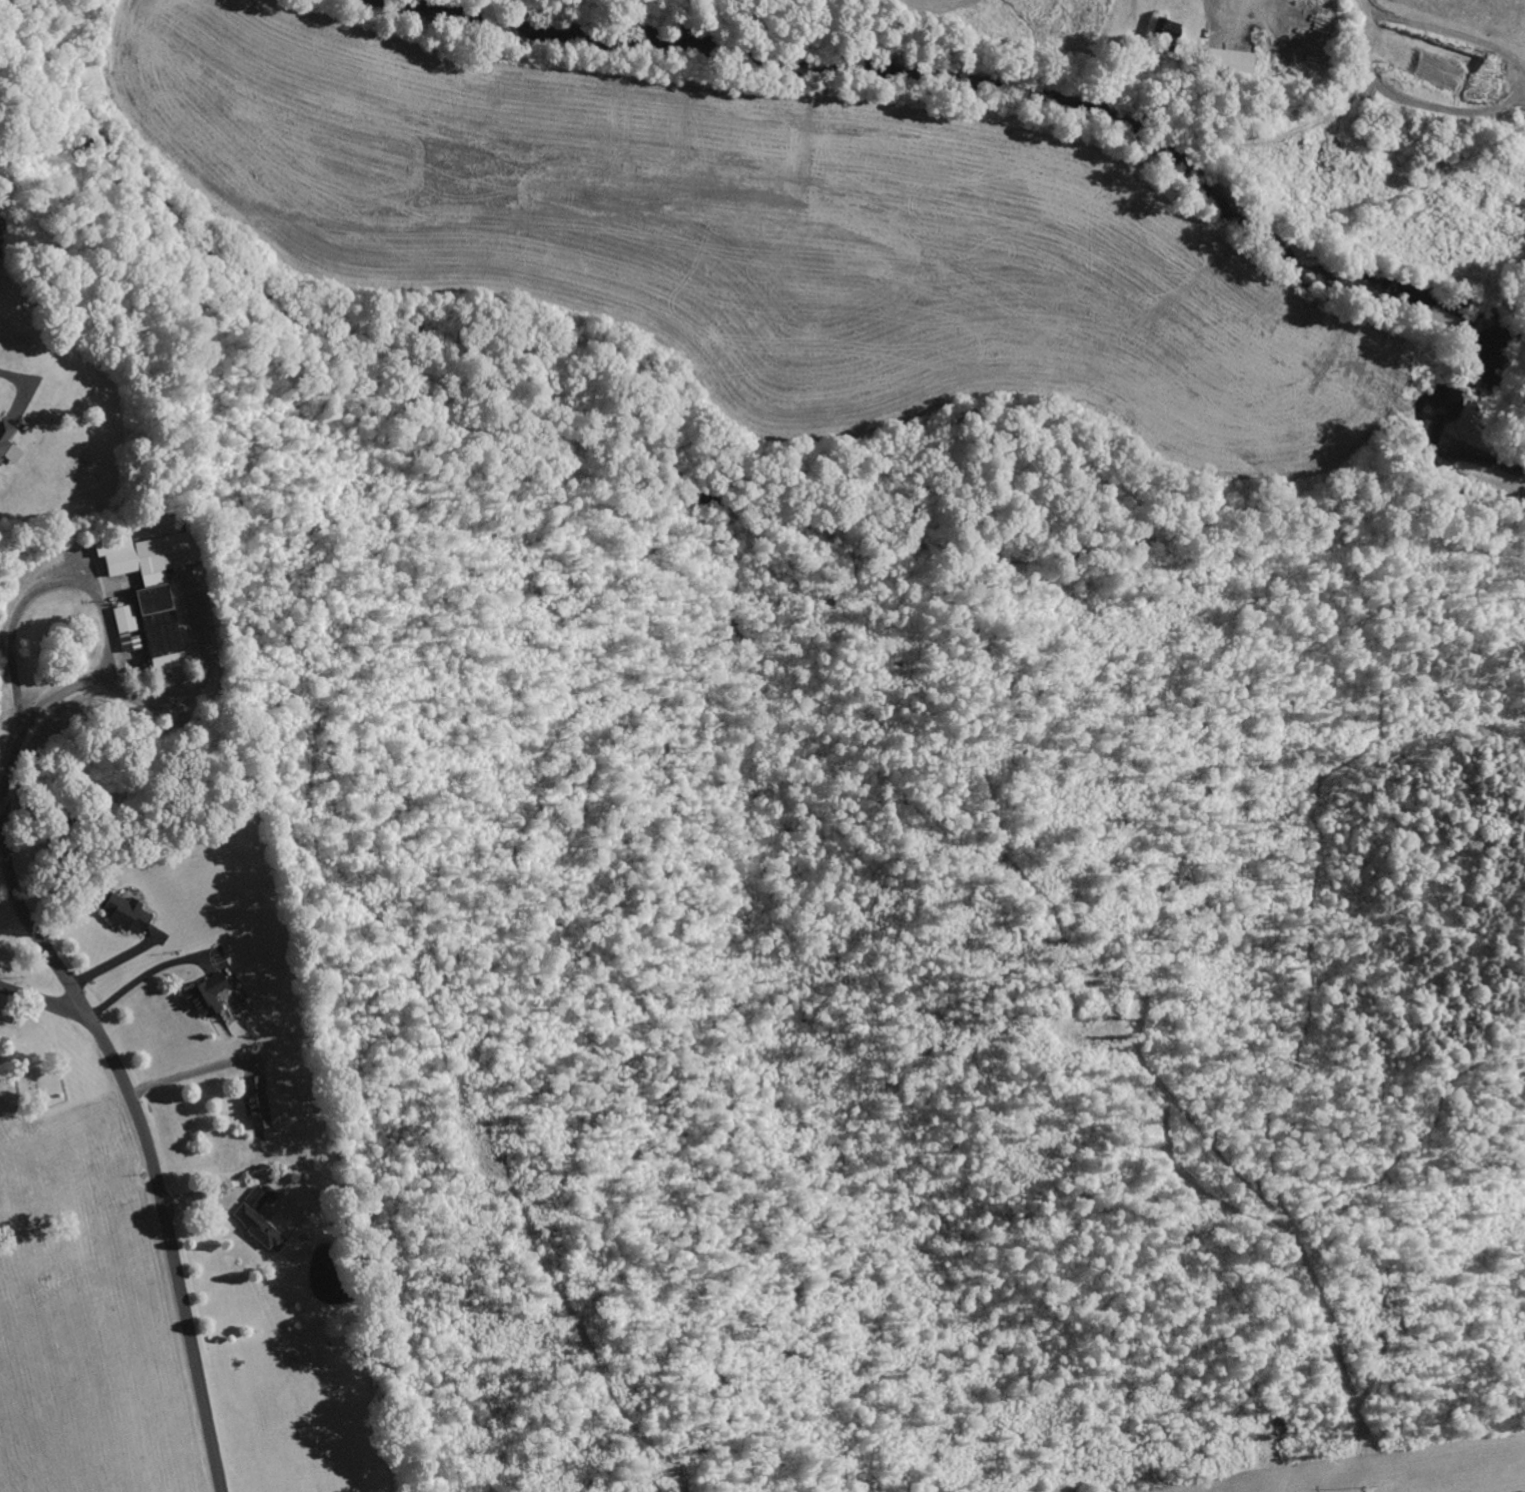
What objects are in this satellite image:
building: (1170, 36)
building: (1233, 61)
building: (1, 244)
building: (9, 443)
building: (157, 586)
building: (129, 627)
building: (130, 913)
building: (209, 995)
road: (40, 997)
road: (132, 1093)
building: (259, 1103)
building: (261, 1220)

